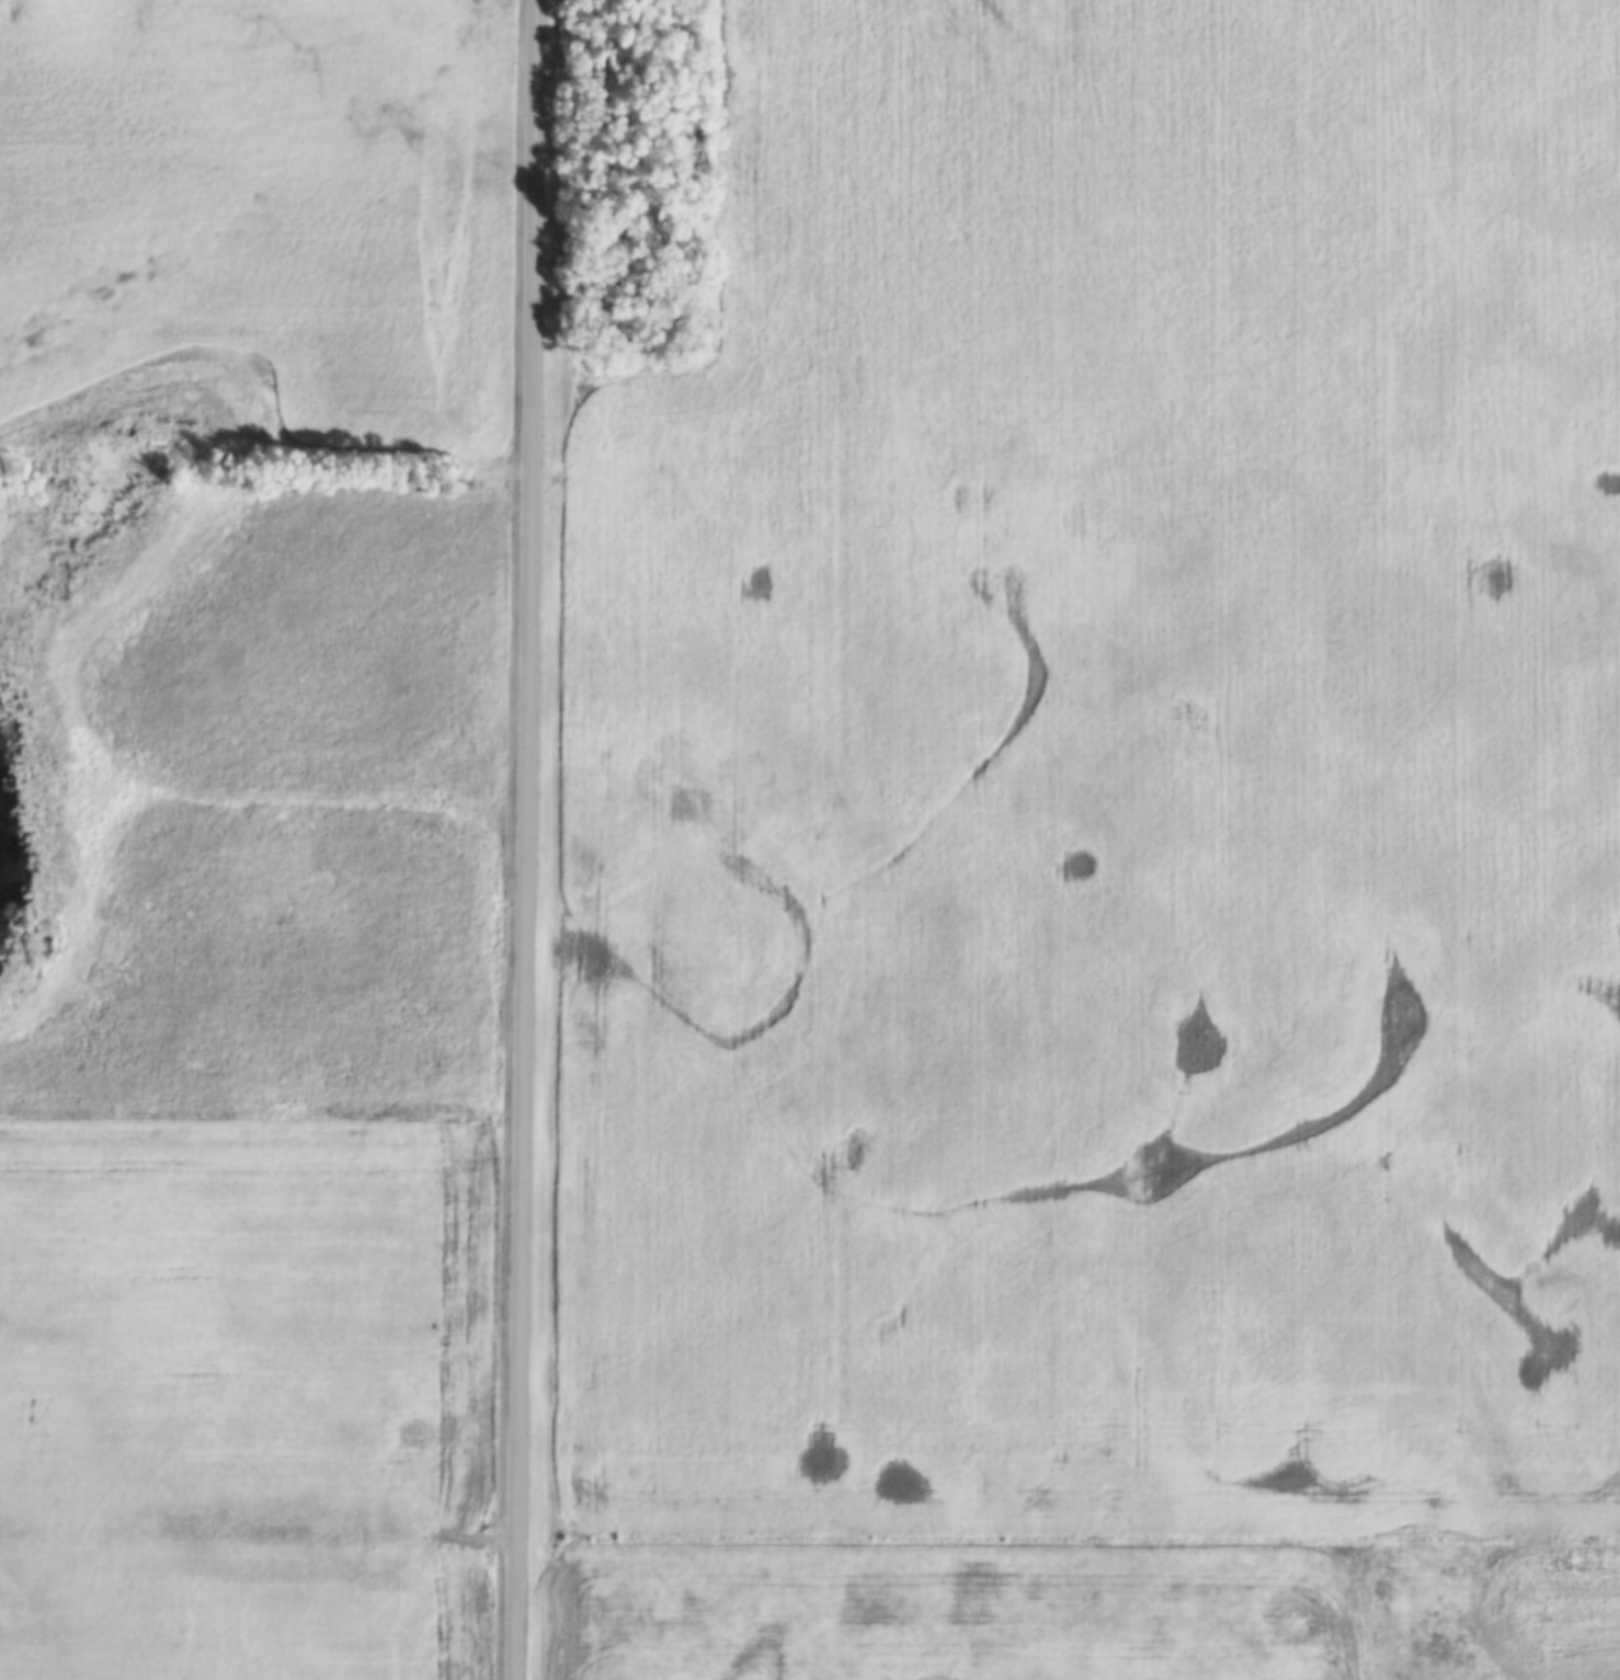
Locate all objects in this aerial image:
road: (531, 839)

